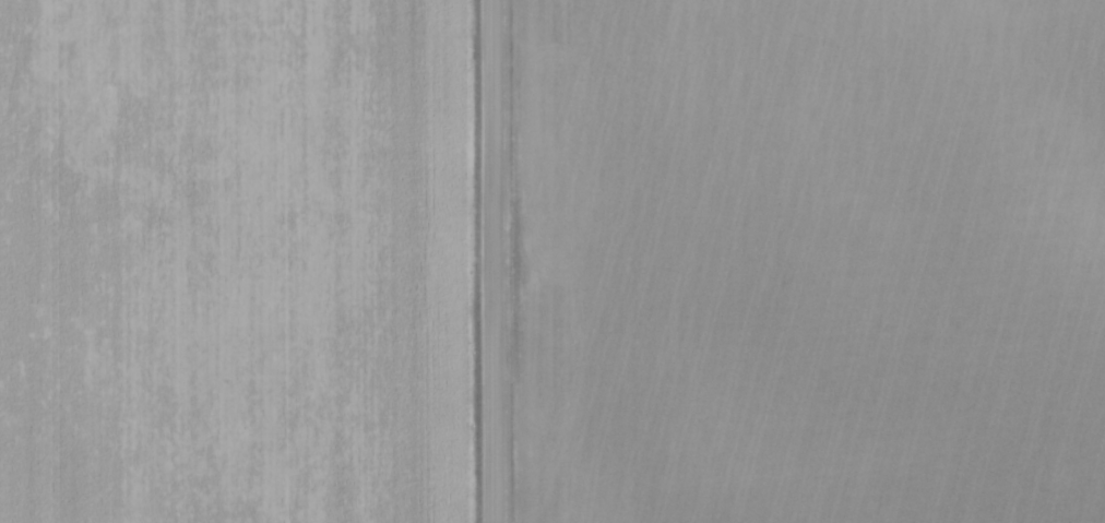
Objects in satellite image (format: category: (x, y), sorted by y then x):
crop: (234, 261)
road: (492, 261)

